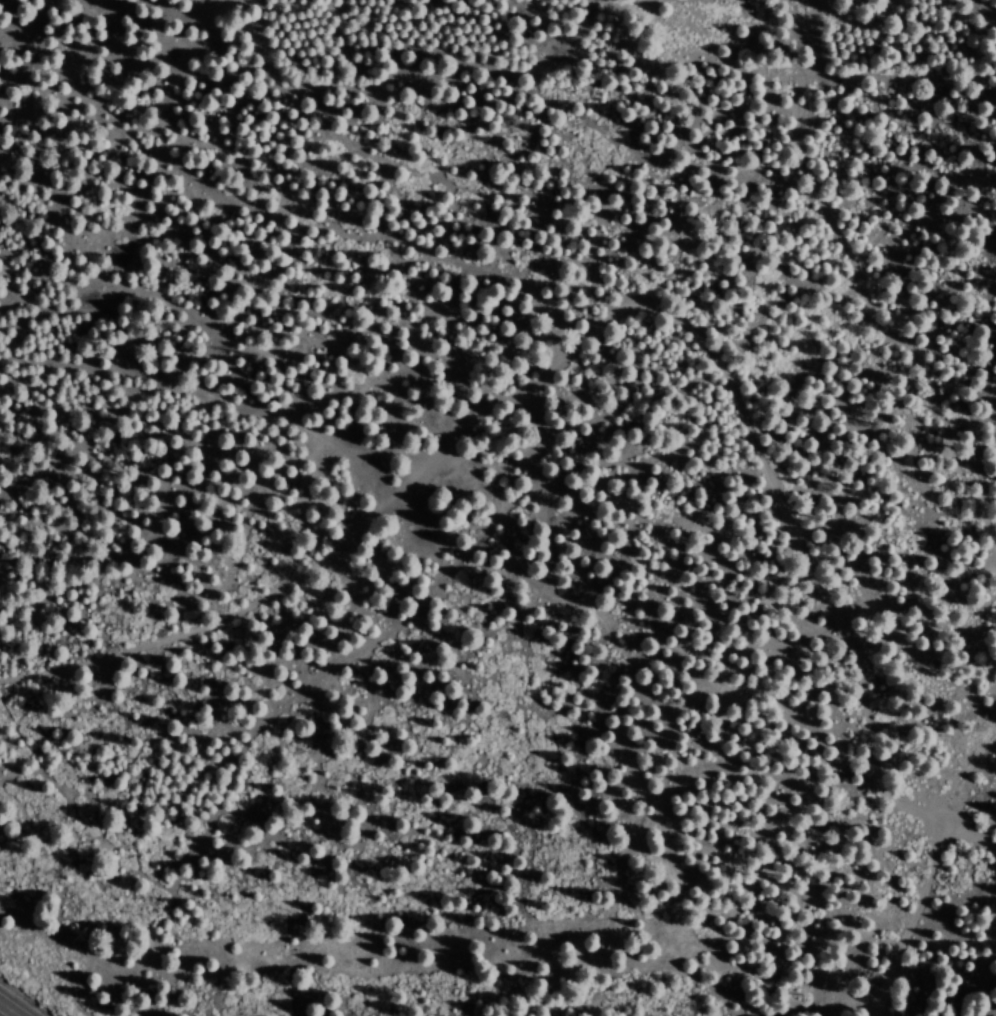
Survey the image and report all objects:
road: (555, 354)
road: (865, 404)
road: (957, 680)
road: (961, 845)
road: (909, 925)
road: (4, 1012)

